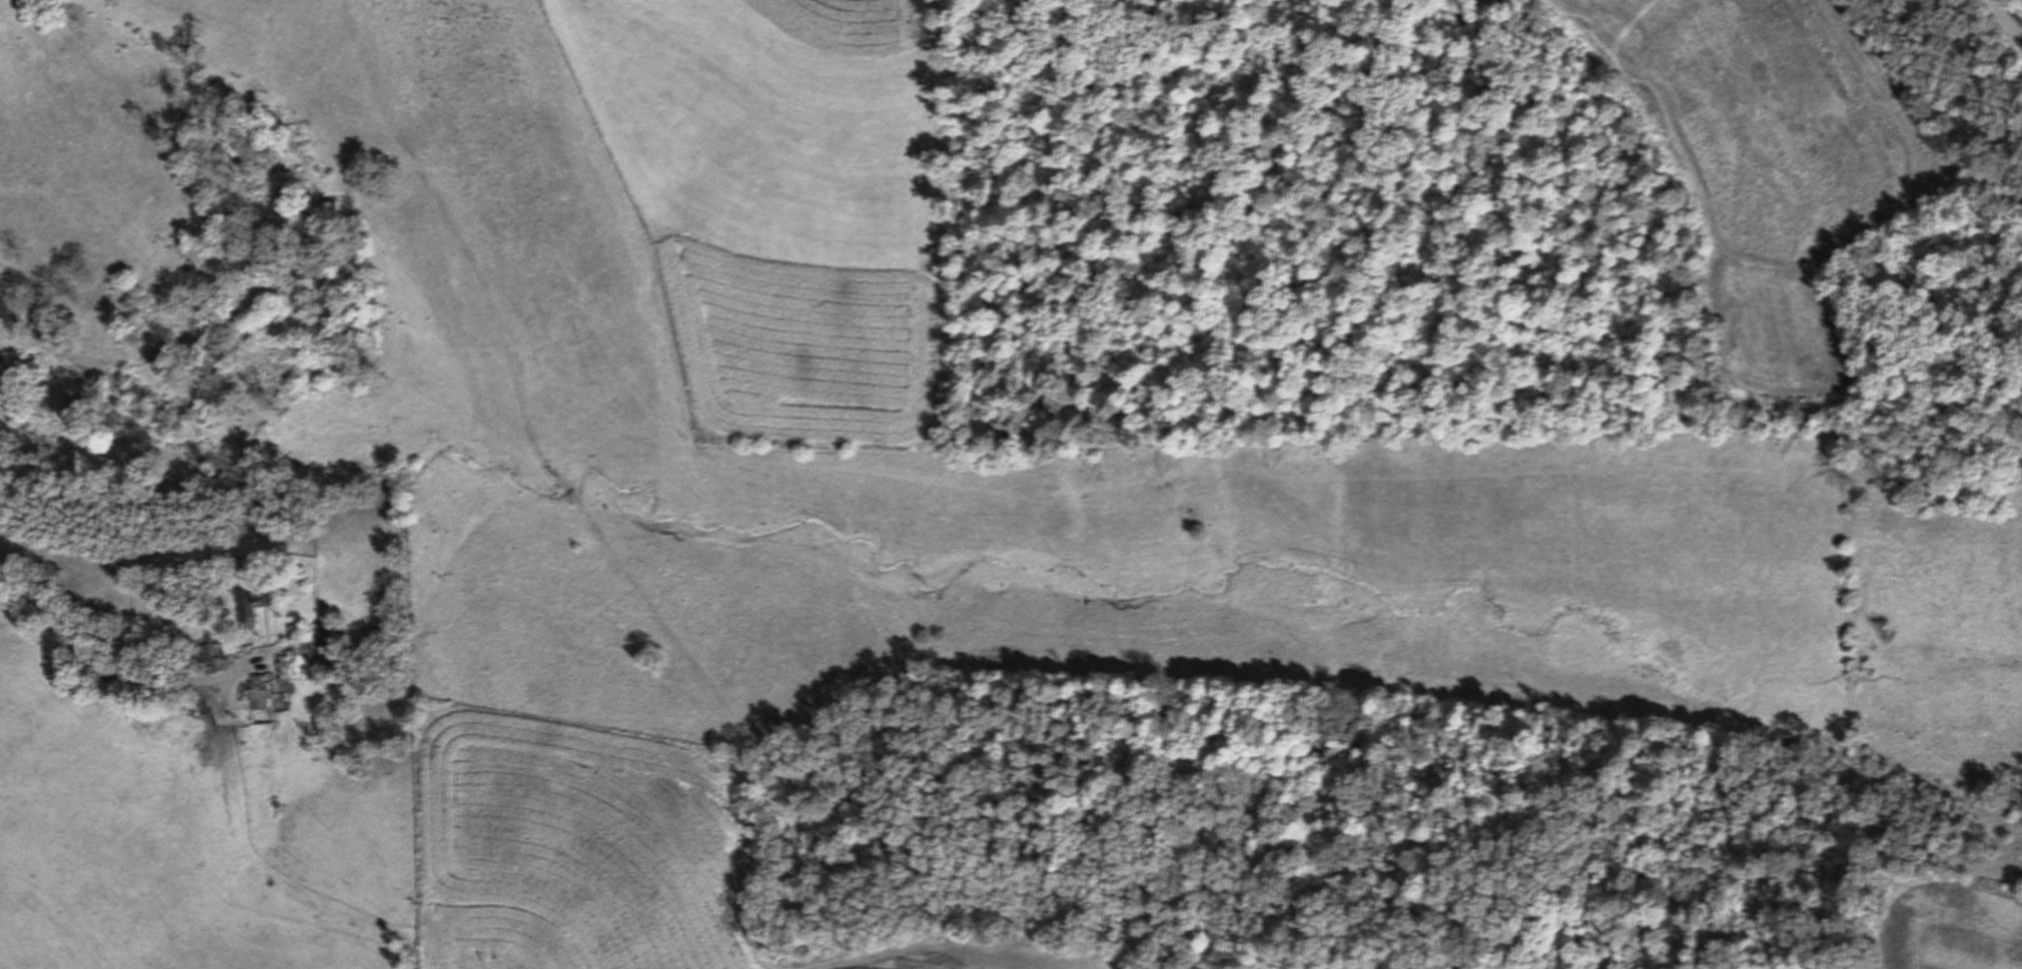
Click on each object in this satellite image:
road: (2009, 20)
building: (256, 597)
building: (204, 654)
road: (103, 668)
building: (261, 693)

